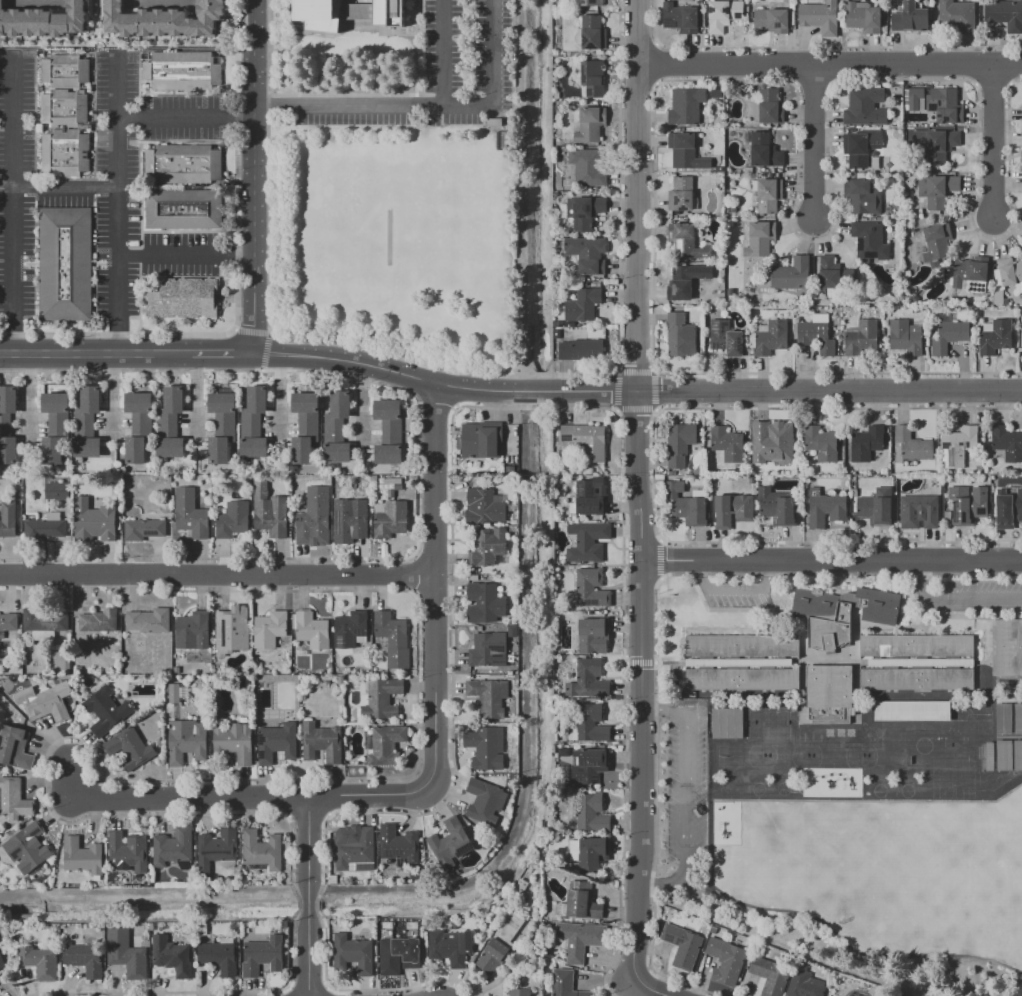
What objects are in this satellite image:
building: (591, 3)
road: (161, 4)
road: (90, 10)
building: (347, 12)
building: (723, 14)
building: (1005, 14)
building: (957, 15)
building: (820, 17)
building: (863, 17)
building: (680, 18)
building: (910, 18)
road: (95, 19)
building: (771, 20)
building: (166, 21)
building: (44, 22)
building: (590, 33)
road: (125, 45)
road: (443, 53)
road: (829, 67)
building: (182, 70)
building: (65, 71)
road: (338, 71)
road: (313, 75)
building: (592, 78)
parking lot: (433, 81)
road: (372, 86)
building: (716, 93)
building: (912, 98)
building: (945, 105)
road: (427, 106)
building: (686, 106)
building: (770, 106)
building: (64, 107)
building: (865, 107)
building: (1021, 114)
road: (186, 118)
building: (498, 123)
building: (590, 124)
building: (936, 144)
road: (996, 144)
building: (861, 146)
road: (816, 147)
building: (764, 150)
building: (685, 151)
building: (65, 152)
building: (1021, 158)
building: (182, 164)
building: (587, 167)
road: (254, 176)
road: (64, 188)
building: (937, 190)
building: (767, 194)
building: (681, 195)
road: (636, 196)
building: (862, 196)
road: (116, 205)
road: (13, 206)
building: (185, 209)
building: (894, 210)
building: (584, 211)
building: (730, 223)
park: (395, 233)
building: (758, 239)
building: (869, 240)
building: (686, 241)
building: (936, 241)
park: (396, 244)
road: (185, 256)
building: (589, 257)
building: (65, 264)
building: (1011, 273)
building: (791, 274)
building: (970, 274)
building: (834, 276)
building: (680, 283)
building: (183, 298)
building: (1005, 302)
building: (583, 305)
building: (945, 318)
building: (557, 323)
building: (569, 324)
road: (233, 329)
road: (251, 331)
road: (116, 333)
building: (556, 333)
building: (815, 333)
building: (680, 335)
building: (905, 336)
building: (949, 336)
building: (725, 337)
building: (769, 337)
building: (861, 337)
building: (995, 337)
road: (225, 341)
building: (581, 349)
road: (264, 351)
road: (94, 353)
road: (222, 353)
road: (349, 361)
road: (221, 364)
road: (438, 364)
road: (451, 369)
road: (213, 370)
road: (614, 371)
road: (656, 371)
road: (634, 372)
road: (839, 373)
road: (451, 388)
road: (654, 390)
road: (616, 391)
road: (731, 391)
building: (8, 399)
building: (90, 399)
building: (174, 399)
building: (256, 399)
road: (435, 400)
building: (55, 402)
building: (137, 402)
building: (305, 402)
building: (222, 403)
building: (340, 404)
road: (454, 407)
road: (534, 408)
road: (836, 408)
building: (387, 409)
road: (635, 410)
road: (614, 411)
building: (83, 424)
building: (166, 424)
building: (249, 424)
building: (5, 425)
building: (59, 425)
building: (141, 425)
building: (225, 425)
building: (309, 425)
building: (333, 429)
building: (392, 432)
building: (481, 440)
building: (586, 440)
building: (771, 441)
building: (680, 443)
building: (727, 443)
building: (821, 443)
building: (866, 443)
building: (960, 443)
building: (1006, 443)
building: (912, 444)
building: (87, 447)
building: (170, 447)
building: (253, 447)
building: (8, 450)
building: (52, 450)
building: (135, 450)
building: (219, 450)
building: (302, 450)
building: (337, 452)
building: (388, 454)
building: (565, 456)
building: (579, 471)
building: (589, 471)
building: (398, 486)
building: (57, 491)
building: (854, 492)
building: (589, 498)
building: (685, 505)
building: (485, 506)
building: (775, 507)
building: (825, 508)
building: (920, 509)
building: (732, 510)
building: (874, 510)
building: (968, 510)
building: (1008, 510)
building: (269, 511)
building: (191, 514)
building: (390, 518)
building: (8, 519)
building: (232, 519)
building: (312, 520)
building: (349, 520)
building: (95, 521)
building: (45, 527)
building: (143, 529)
building: (587, 541)
building: (487, 546)
building: (362, 549)
road: (829, 563)
road: (305, 575)
road: (86, 576)
building: (473, 577)
building: (591, 588)
road: (734, 591)
road: (438, 593)
parking lot: (736, 595)
parking lot: (981, 596)
road: (956, 601)
building: (485, 603)
building: (841, 613)
building: (99, 620)
building: (148, 620)
building: (8, 623)
building: (43, 623)
building: (269, 629)
building: (311, 629)
building: (350, 629)
building: (192, 630)
building: (232, 631)
building: (512, 631)
building: (592, 635)
building: (393, 639)
building: (1008, 647)
building: (487, 648)
building: (741, 662)
building: (917, 662)
building: (588, 679)
road: (635, 686)
building: (173, 692)
building: (829, 694)
building: (489, 697)
building: (381, 698)
building: (46, 704)
building: (105, 711)
building: (912, 711)
building: (1003, 718)
building: (1018, 718)
building: (727, 723)
park: (767, 723)
building: (589, 724)
building: (186, 741)
building: (234, 742)
building: (277, 742)
building: (322, 742)
building: (386, 744)
building: (15, 748)
building: (130, 748)
building: (485, 749)
building: (1004, 755)
building: (1018, 755)
park: (751, 756)
park: (784, 756)
park: (833, 756)
park: (872, 756)
building: (989, 756)
building: (588, 766)
parking lot: (686, 785)
road: (687, 796)
road: (171, 798)
building: (13, 799)
road: (377, 800)
building: (485, 802)
building: (592, 813)
building: (398, 843)
building: (450, 843)
building: (27, 847)
building: (173, 847)
building: (216, 848)
building: (262, 849)
building: (127, 851)
building: (355, 851)
building: (589, 853)
building: (82, 856)
building: (520, 885)
road: (312, 898)
building: (580, 901)
building: (580, 939)
building: (500, 943)
building: (682, 945)
building: (451, 946)
building: (400, 953)
building: (126, 954)
building: (353, 954)
building: (171, 956)
building: (219, 956)
building: (263, 956)
building: (547, 957)
building: (84, 958)
building: (726, 961)
building: (2, 962)
building: (40, 962)
building: (770, 976)
building: (565, 983)
building: (804, 985)
road: (652, 988)
building: (519, 992)

